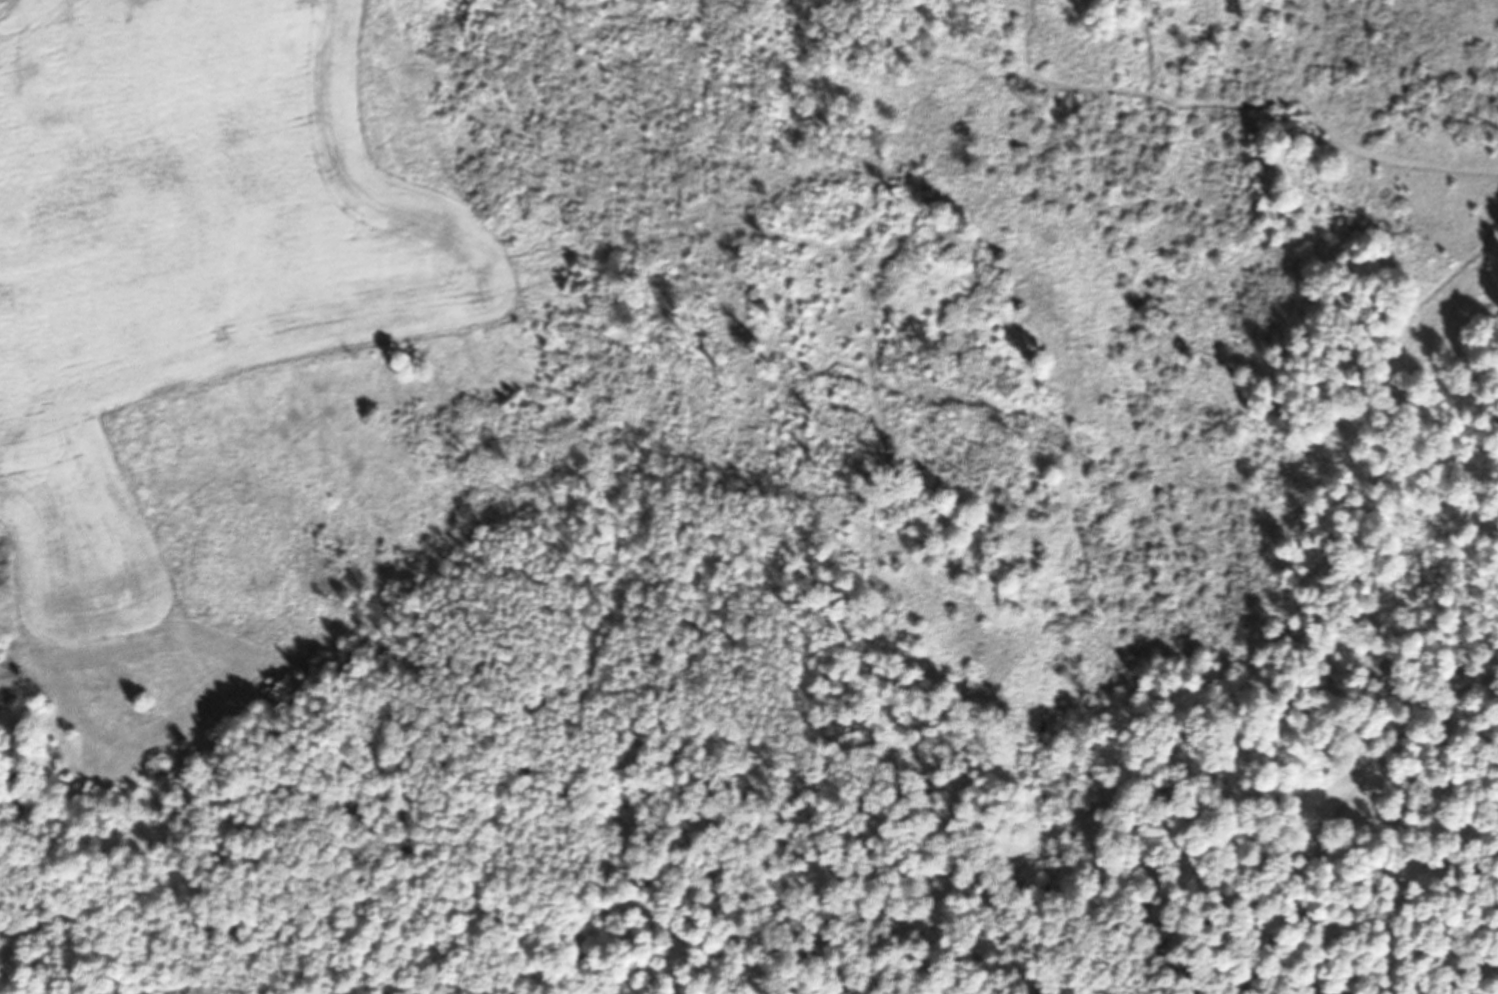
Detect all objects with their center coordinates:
crop: (188, 295)

